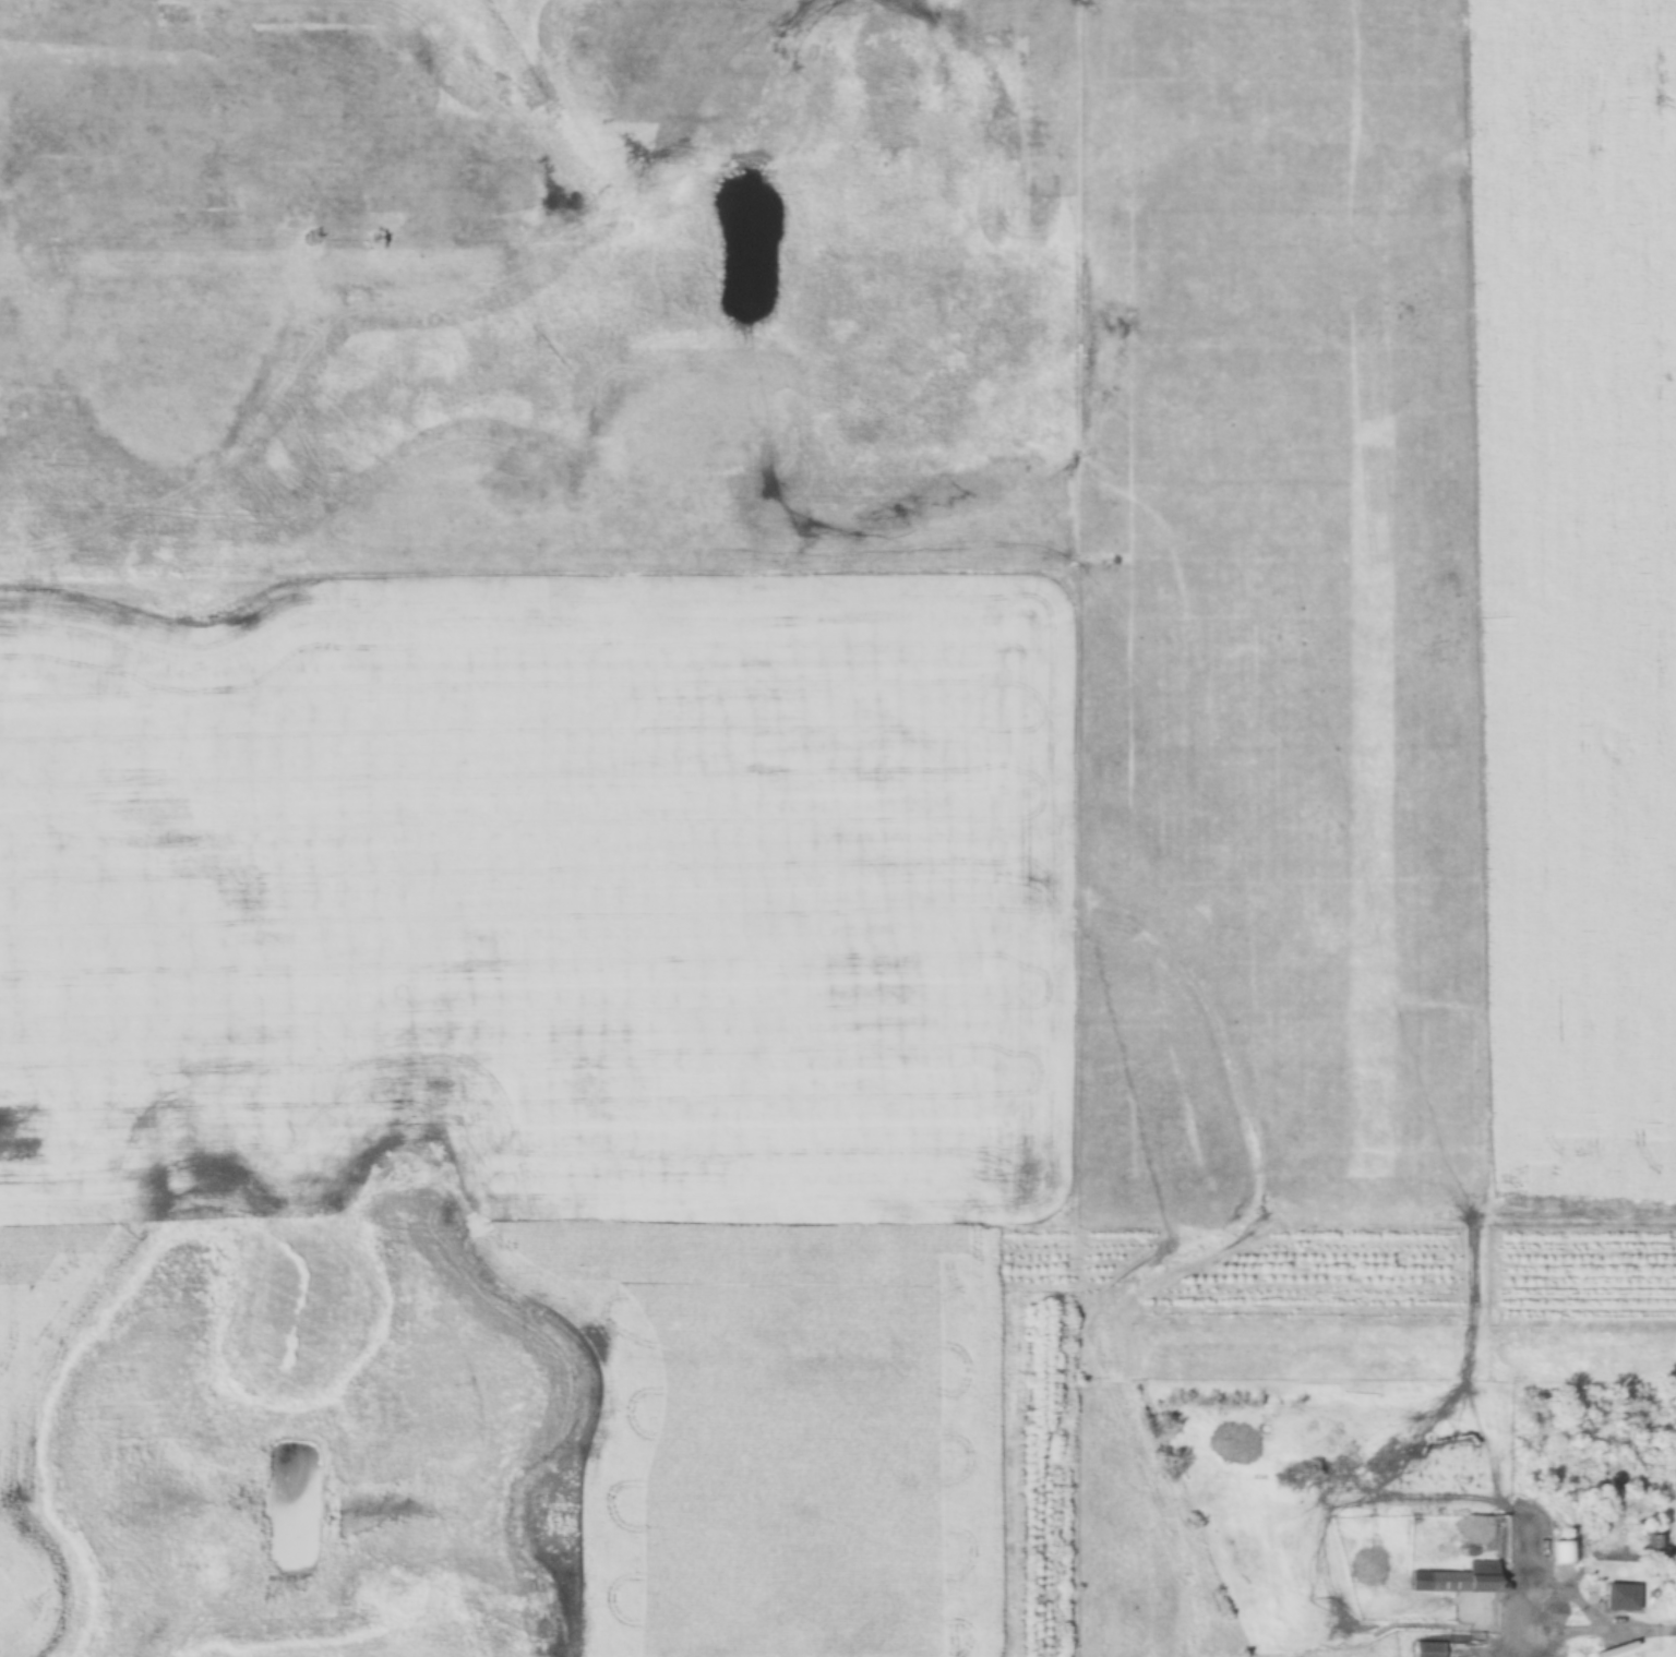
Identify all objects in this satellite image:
building: (1652, 1538)
building: (1458, 1580)
building: (1621, 1597)
road: (1641, 1630)
building: (1427, 1649)

